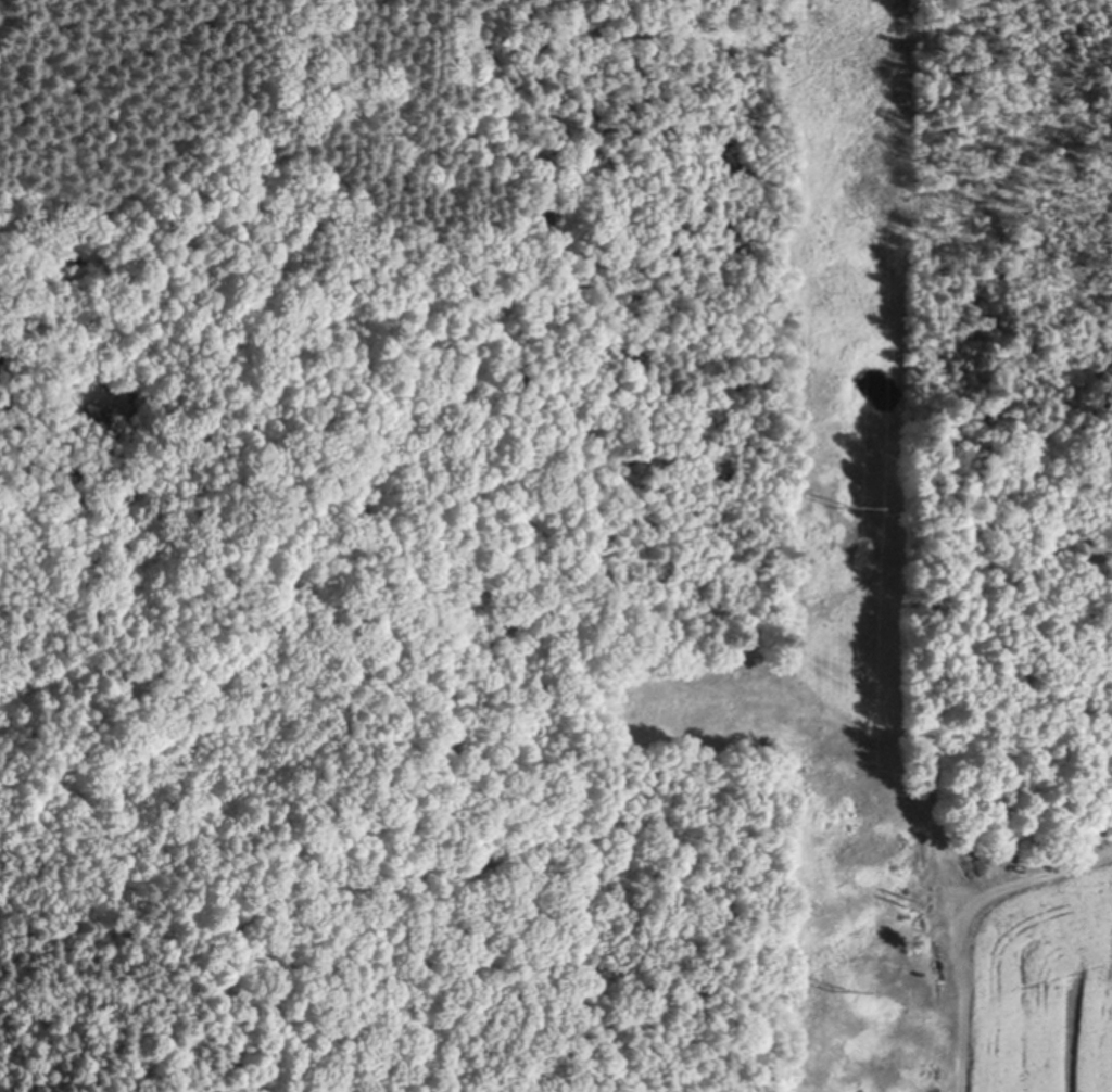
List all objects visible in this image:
power tower: (846, 505)
building: (771, 737)
power tower: (834, 986)

